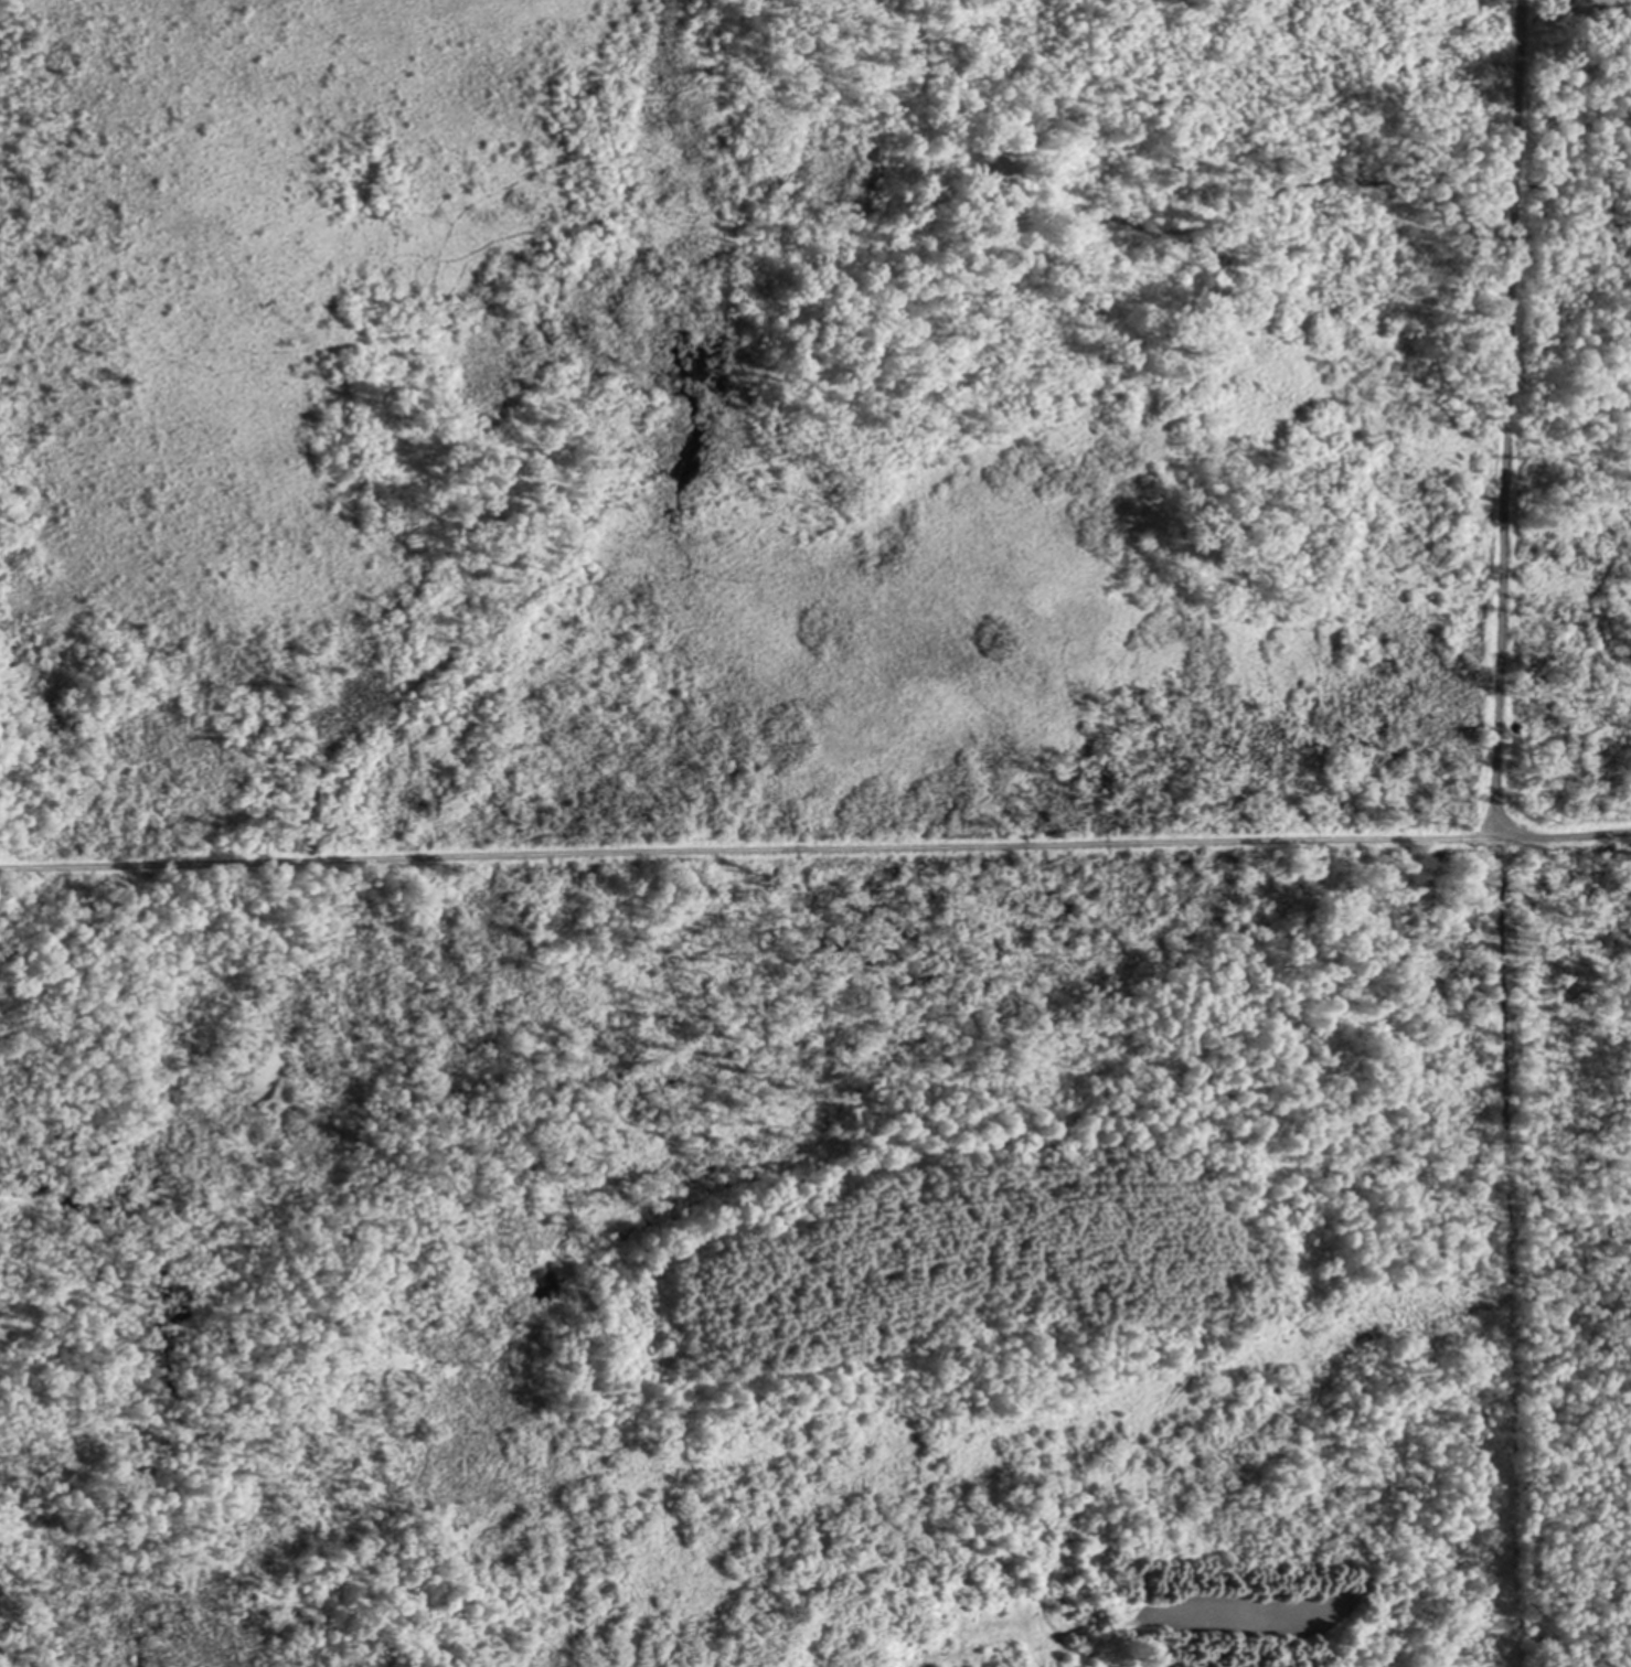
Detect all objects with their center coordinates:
road: (1507, 416)
road: (1564, 830)
road: (748, 847)

